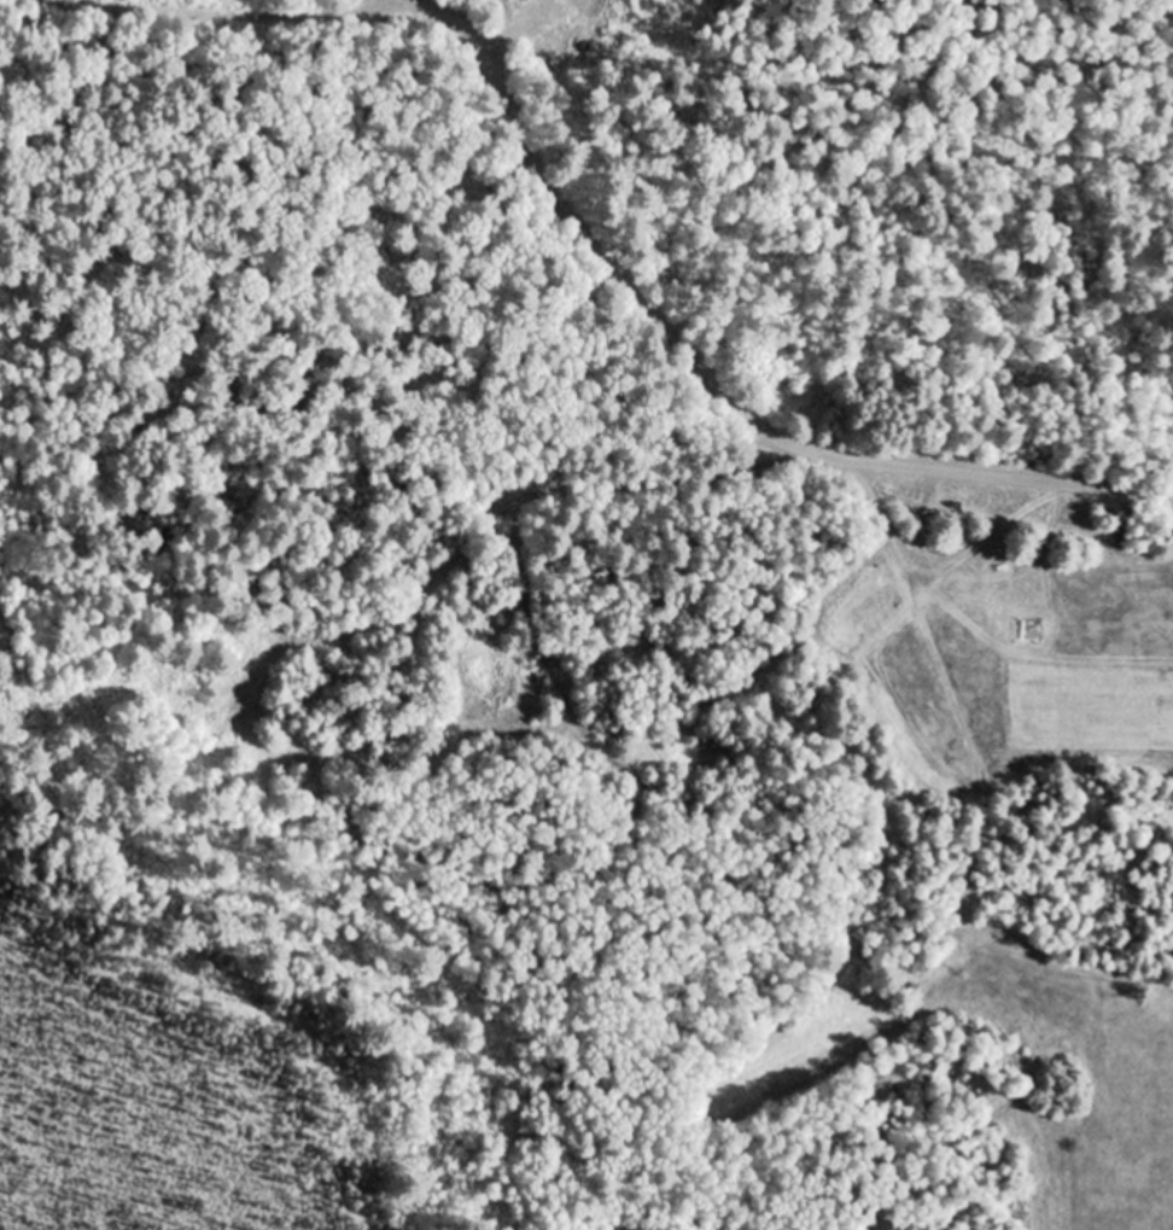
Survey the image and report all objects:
road: (707, 389)

